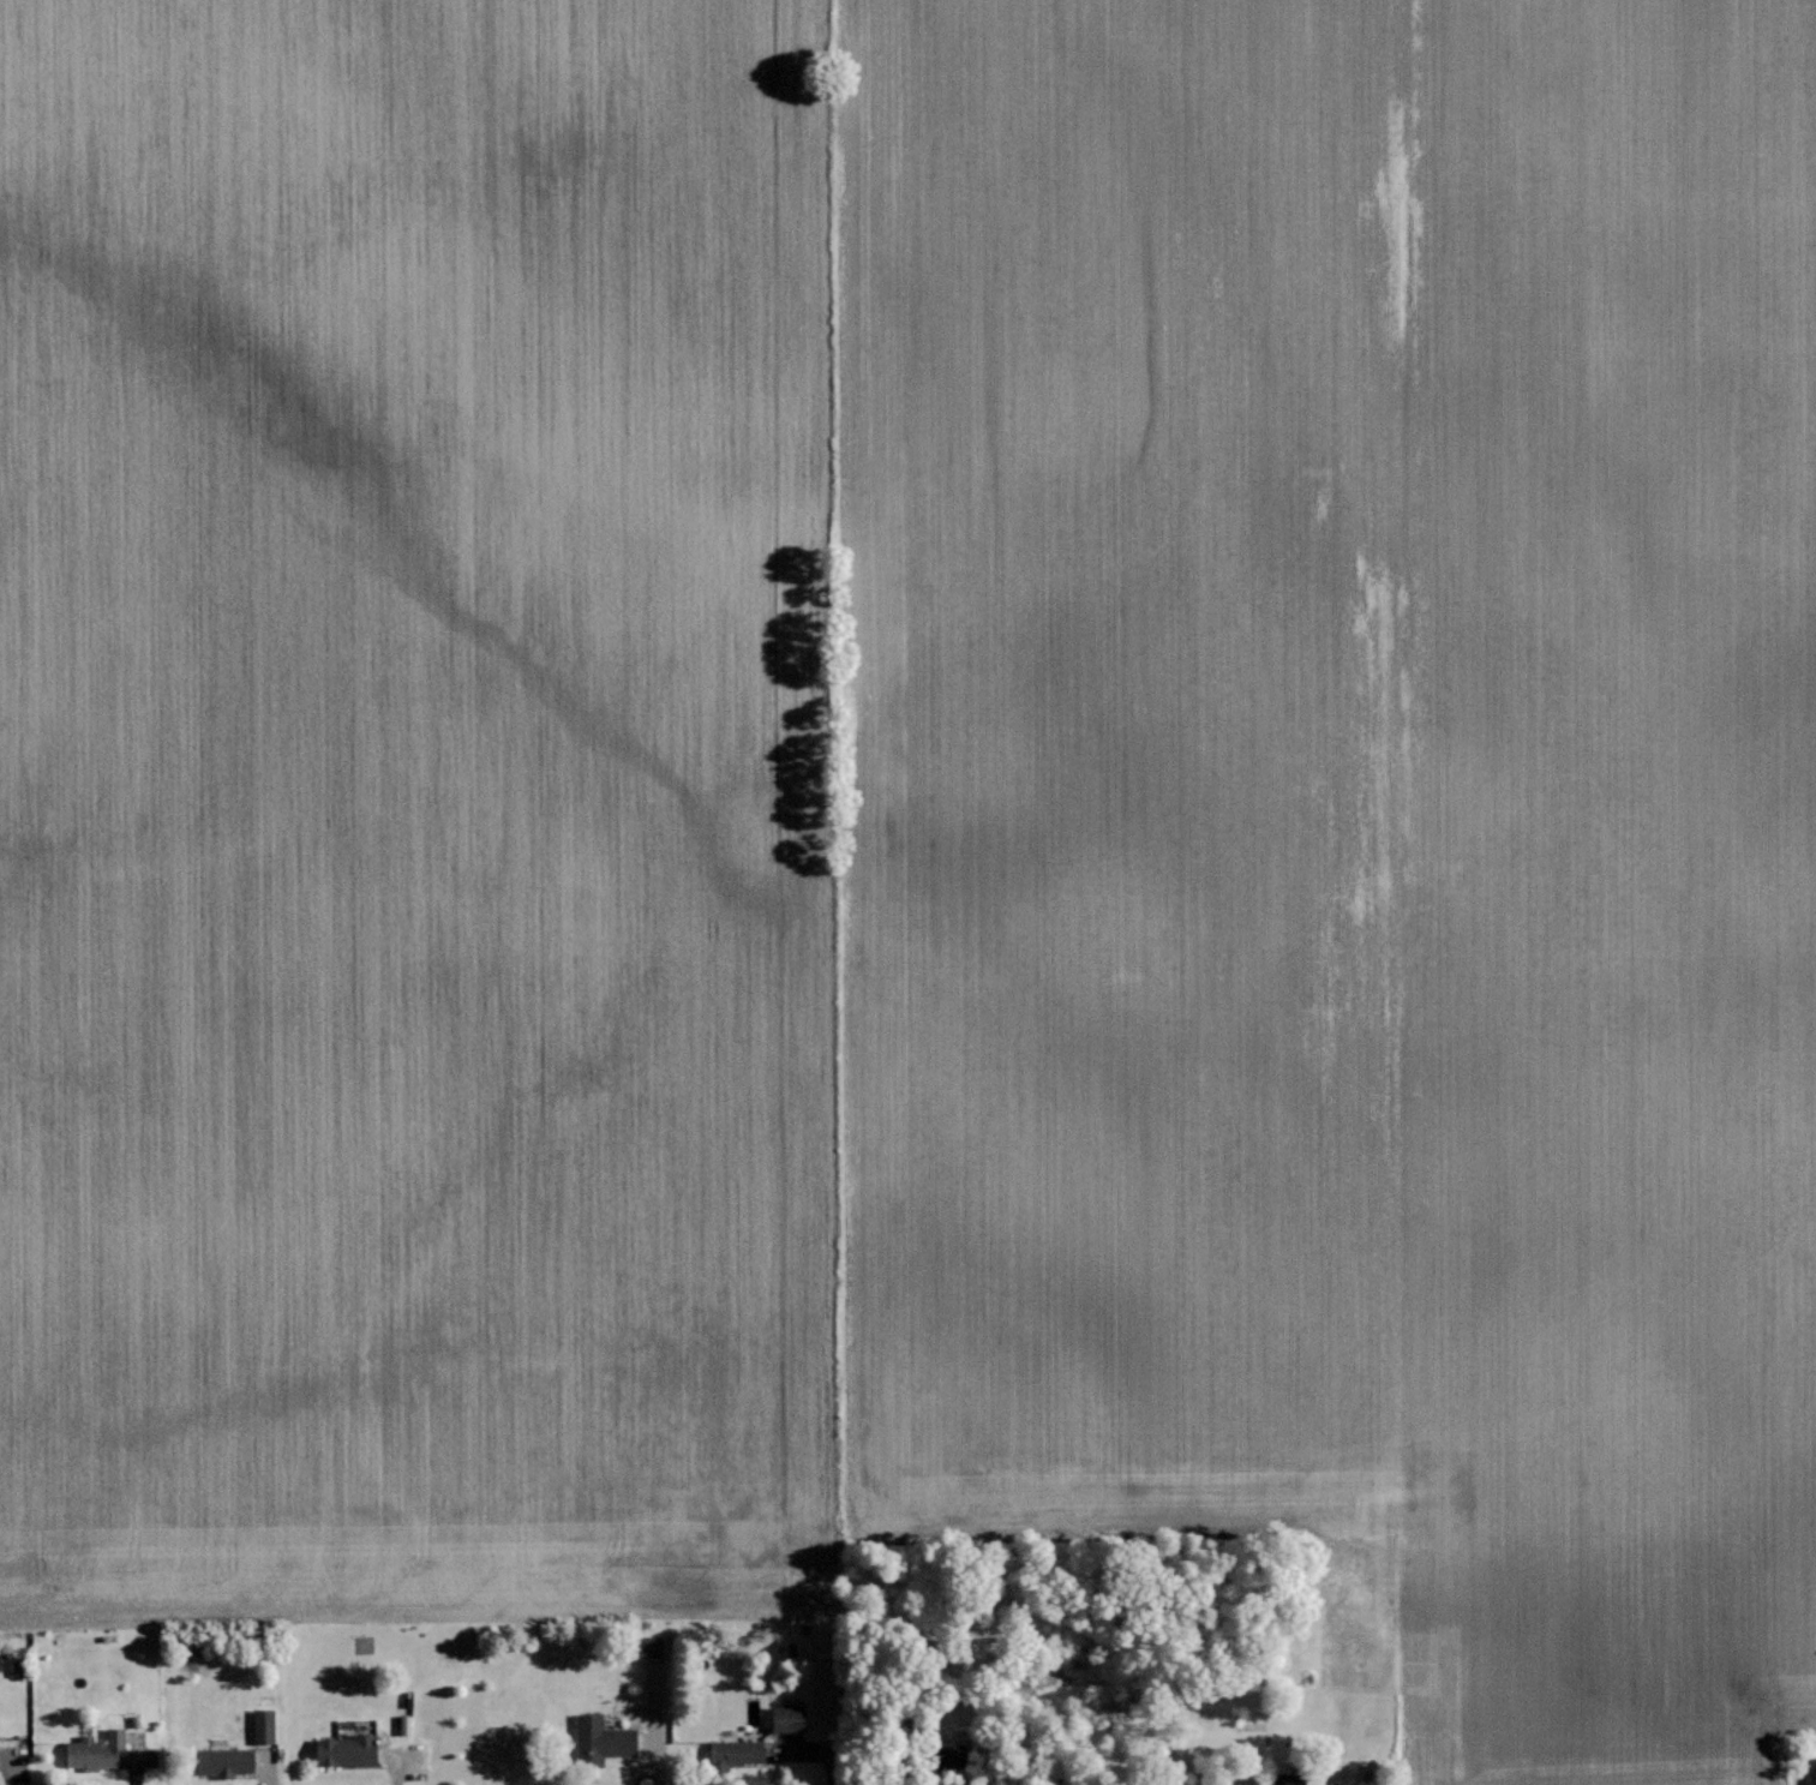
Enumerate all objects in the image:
building: (649, 1646)
building: (785, 1718)
building: (262, 1725)
building: (599, 1739)
building: (342, 1749)
building: (92, 1750)
building: (735, 1751)
building: (946, 1754)
building: (221, 1761)
building: (1811, 1778)
building: (1282, 1784)

